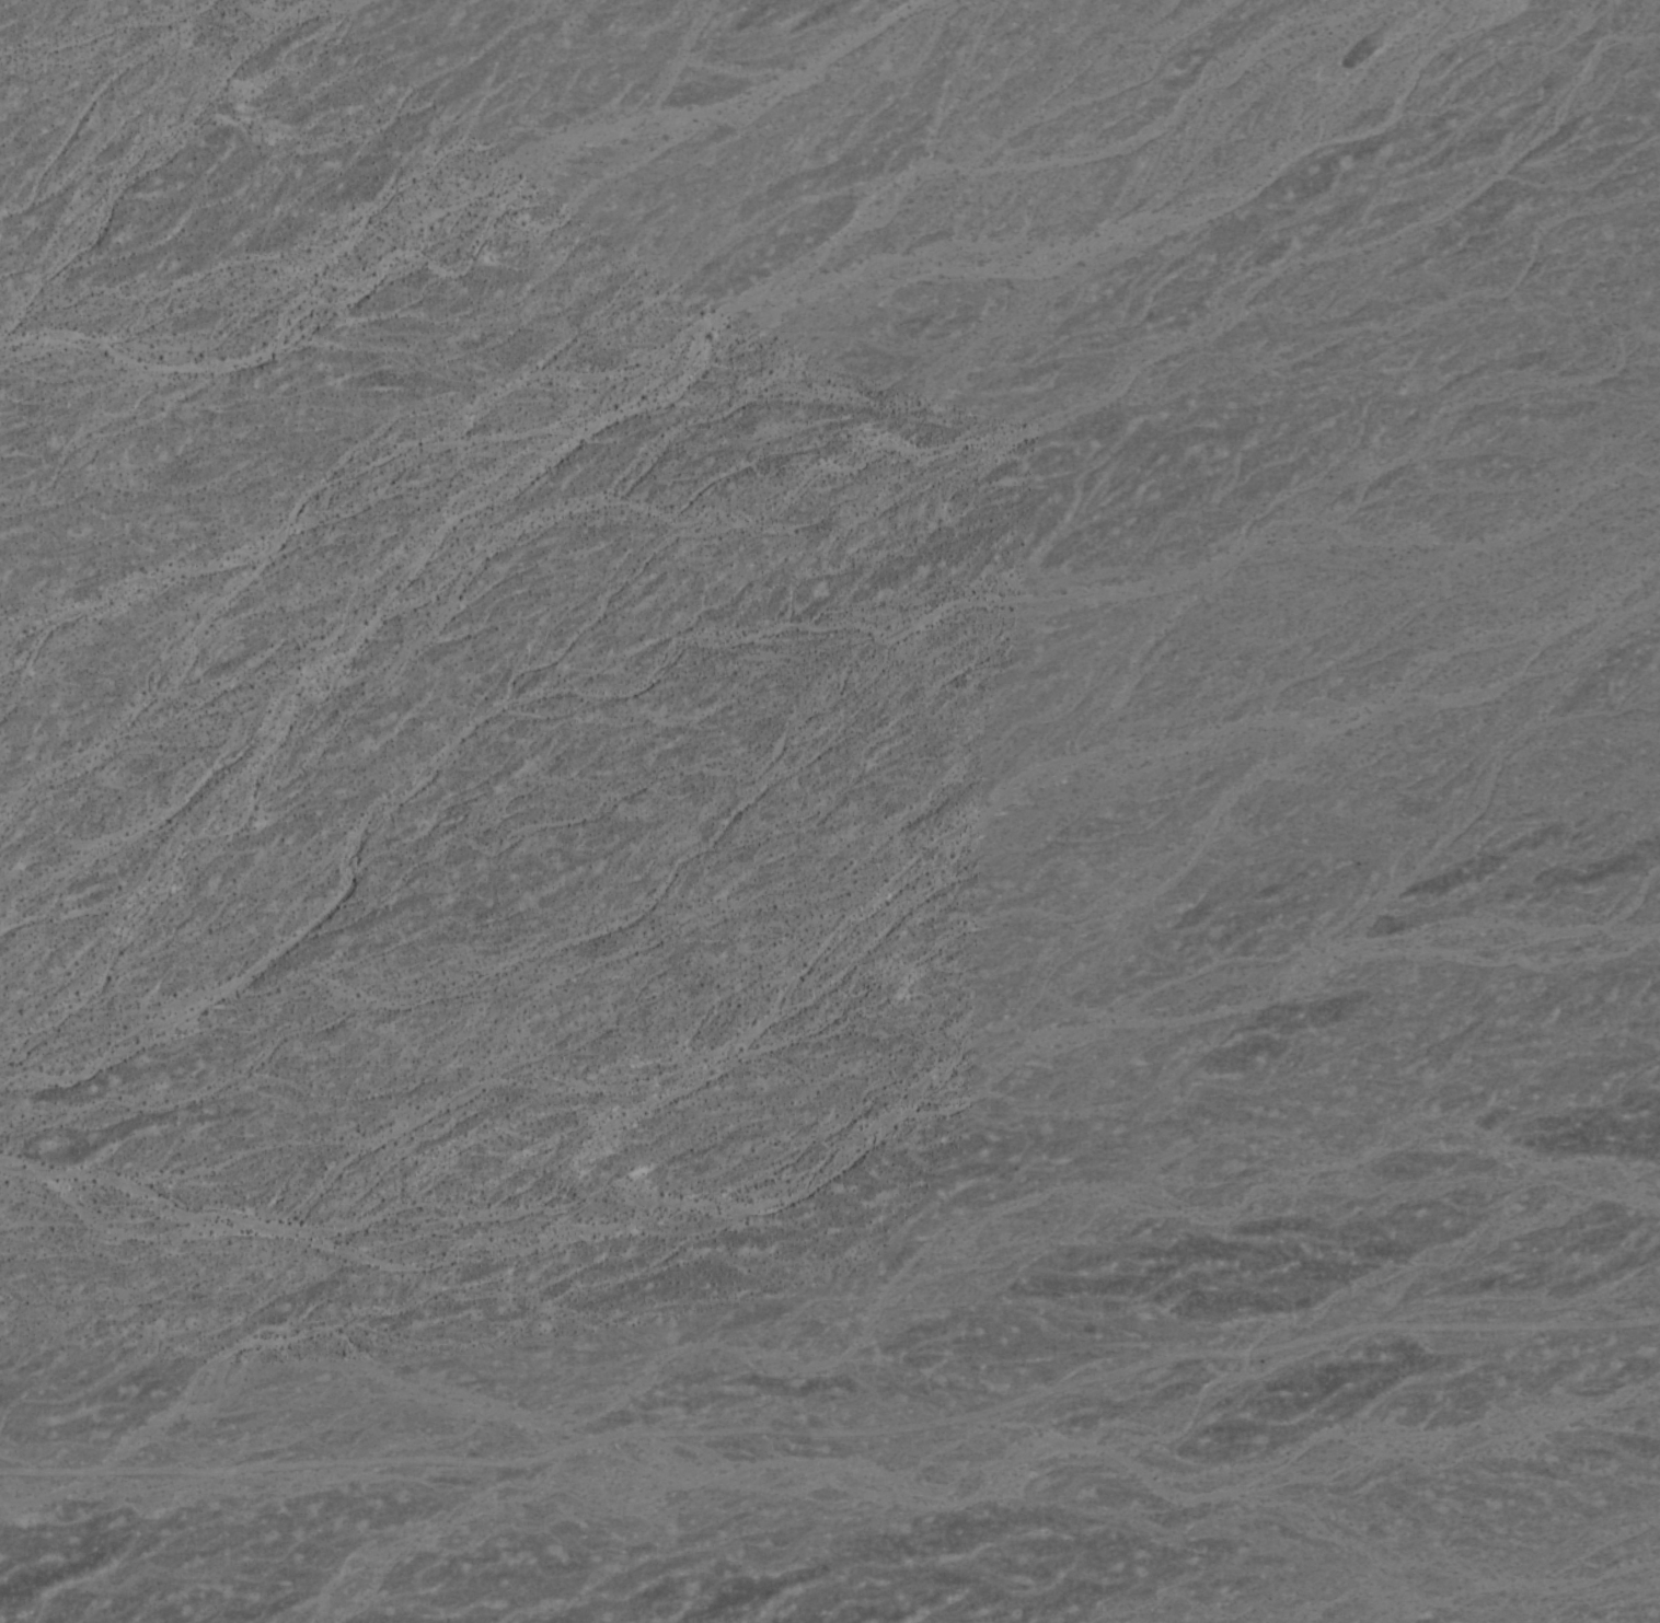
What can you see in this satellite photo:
road: (834, 1435)

